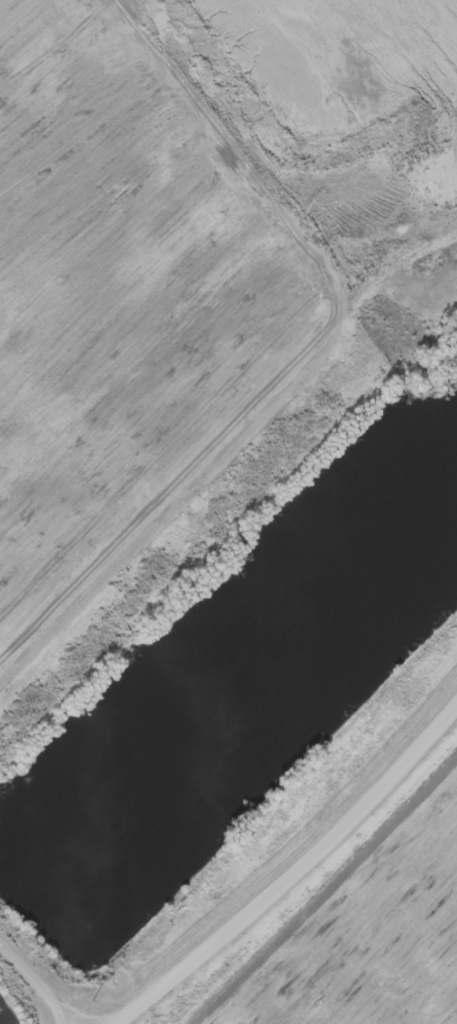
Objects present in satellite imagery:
wastewater plant: (228, 512)
road: (295, 874)

